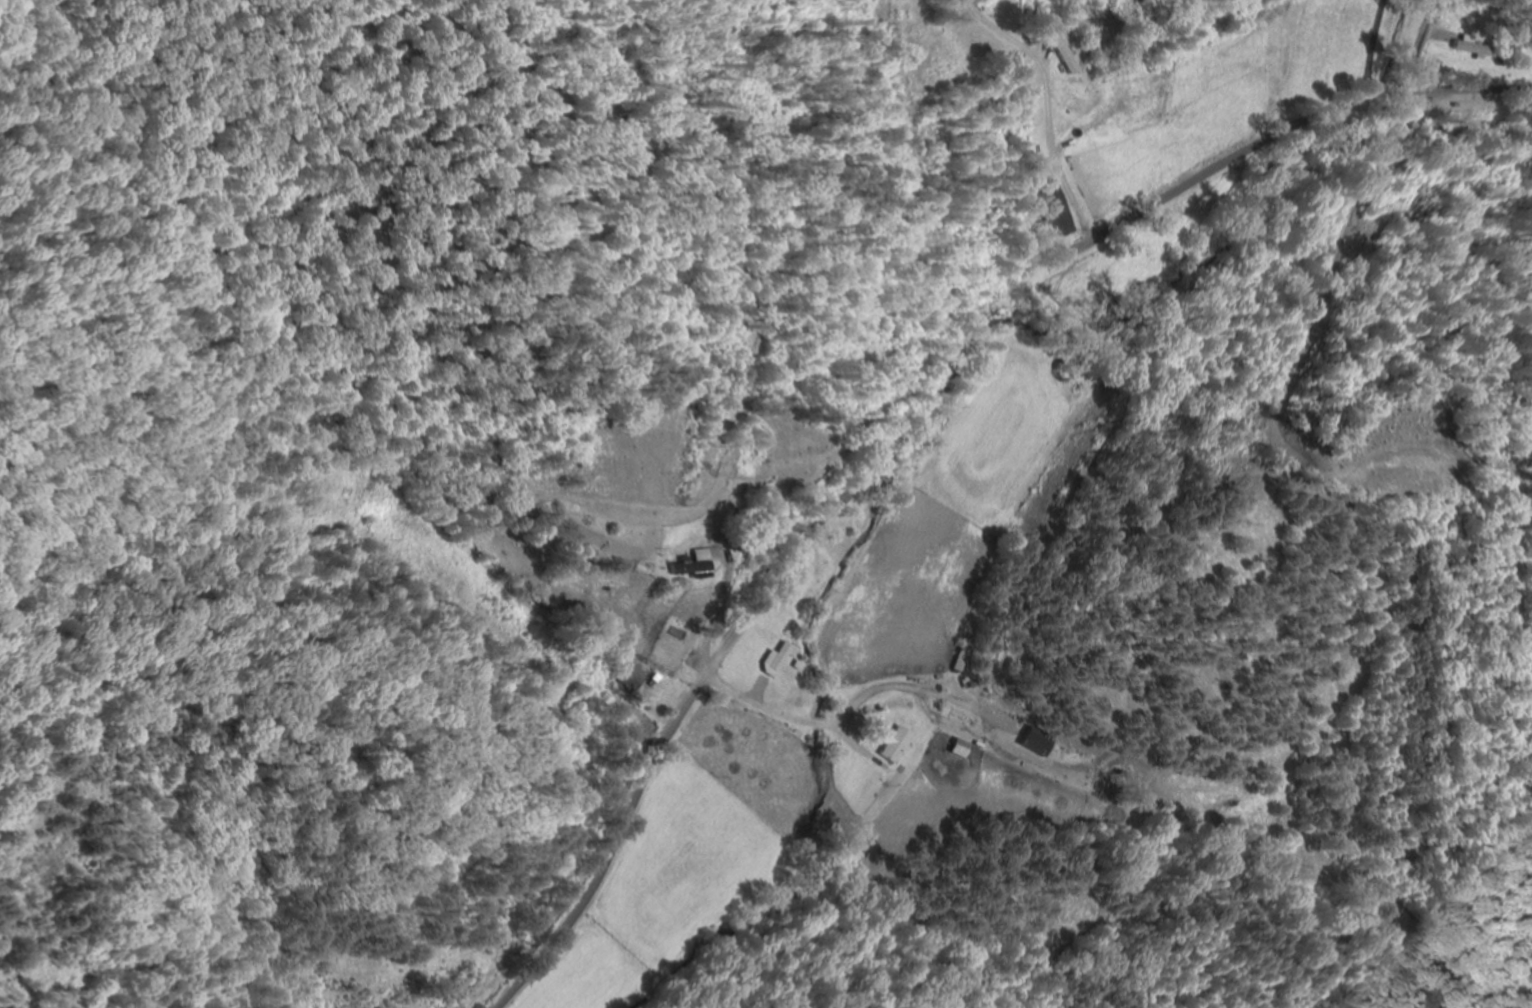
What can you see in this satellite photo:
road: (1422, 43)
building: (1474, 47)
building: (1067, 56)
road: (918, 416)
building: (687, 564)
building: (1037, 742)
building: (894, 745)
road: (991, 764)

